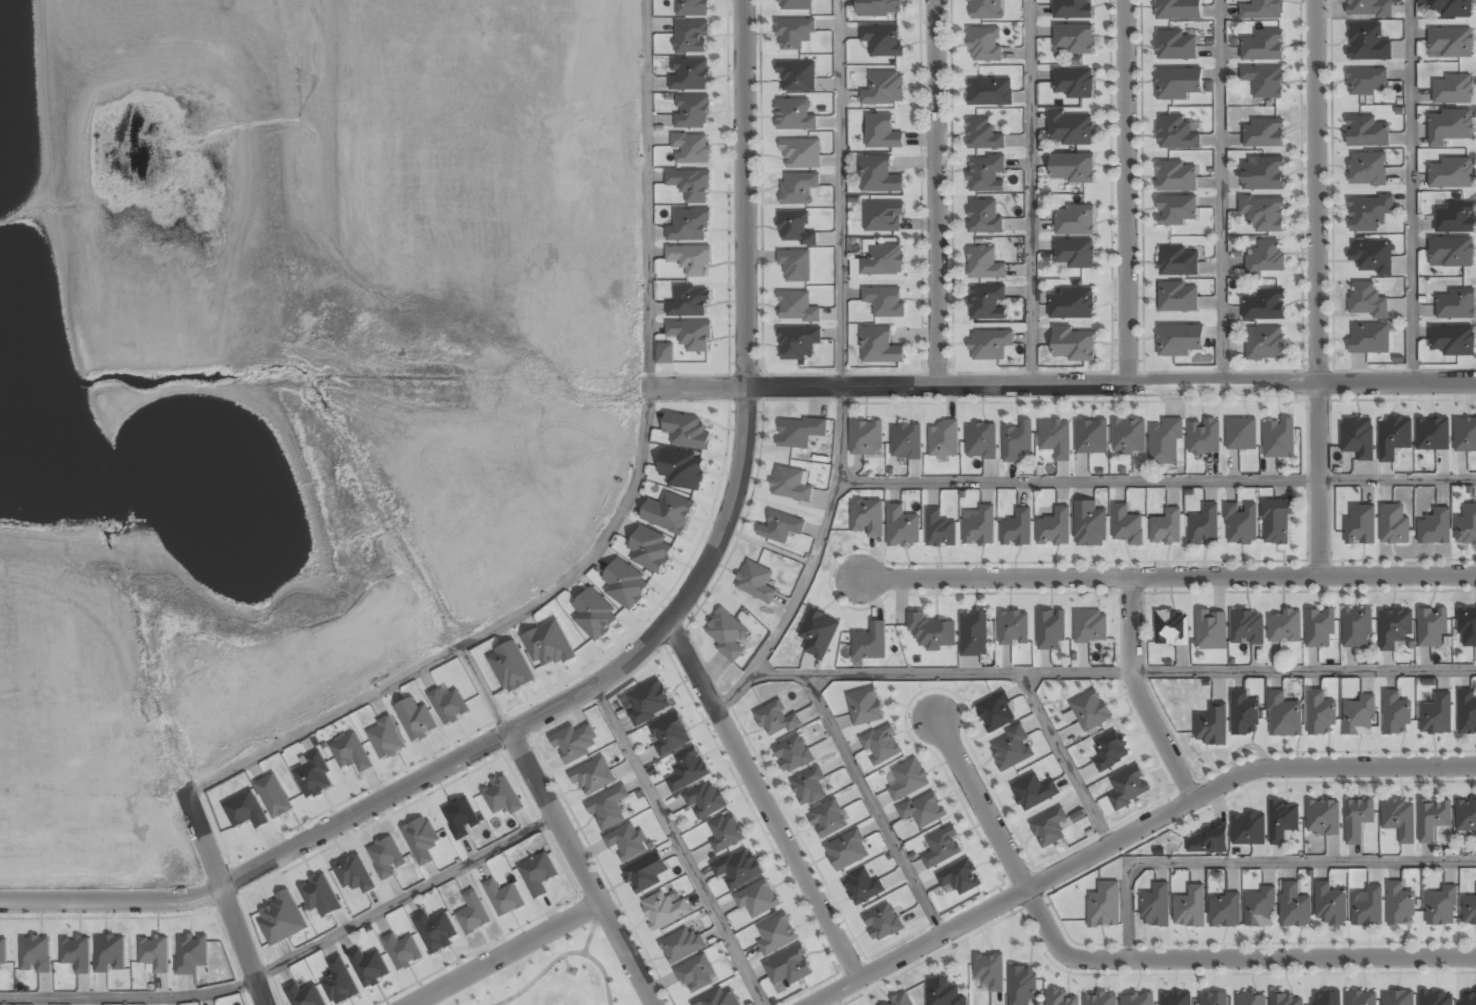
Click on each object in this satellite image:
building: (796, 5)
building: (692, 7)
building: (878, 8)
building: (1072, 8)
building: (1369, 8)
building: (1449, 8)
building: (984, 9)
building: (1178, 9)
building: (1261, 9)
building: (793, 33)
building: (690, 37)
building: (1073, 38)
building: (881, 40)
building: (1367, 42)
building: (1449, 42)
building: (984, 45)
building: (1175, 45)
building: (1262, 46)
building: (688, 75)
building: (797, 76)
building: (1263, 80)
building: (1366, 81)
building: (1177, 82)
building: (1073, 83)
building: (883, 88)
building: (1451, 89)
building: (988, 92)
building: (691, 111)
building: (794, 114)
building: (1449, 126)
building: (1070, 129)
building: (881, 131)
building: (1176, 132)
building: (1263, 132)
building: (1365, 132)
building: (982, 136)
building: (690, 148)
building: (800, 154)
building: (1072, 168)
building: (1366, 169)
building: (985, 173)
building: (1262, 173)
building: (1450, 173)
building: (878, 174)
building: (1176, 175)
building: (690, 185)
building: (796, 188)
road: (1411, 191)
road: (936, 192)
road: (1030, 192)
road: (1126, 192)
road: (1220, 192)
building: (1175, 209)
building: (1263, 212)
building: (1367, 213)
building: (883, 216)
building: (983, 217)
building: (1454, 218)
building: (1074, 220)
building: (688, 226)
building: (794, 228)
building: (1451, 251)
building: (1073, 254)
building: (1370, 256)
building: (1265, 258)
building: (690, 259)
building: (879, 261)
building: (1177, 262)
building: (983, 263)
building: (795, 264)
road: (1316, 287)
building: (1177, 297)
building: (1366, 300)
building: (689, 301)
building: (884, 301)
building: (986, 302)
building: (1454, 304)
building: (1070, 305)
building: (796, 306)
building: (1264, 306)
building: (691, 333)
building: (1368, 339)
building: (1178, 340)
building: (1451, 340)
building: (798, 342)
building: (988, 344)
building: (1264, 344)
building: (878, 345)
building: (1072, 345)
building: (665, 353)
road: (841, 373)
road: (1057, 385)
building: (687, 430)
building: (799, 432)
building: (1240, 433)
building: (1465, 433)
building: (1128, 435)
building: (1430, 435)
building: (866, 436)
building: (1091, 436)
building: (1356, 437)
building: (1392, 437)
building: (1278, 438)
building: (943, 439)
building: (1054, 439)
building: (1165, 440)
building: (980, 441)
building: (1015, 441)
building: (1201, 442)
building: (909, 447)
building: (681, 469)
road: (1156, 480)
building: (791, 483)
building: (669, 512)
building: (867, 516)
building: (1276, 520)
building: (1241, 522)
road: (615, 523)
building: (1090, 523)
building: (1393, 523)
building: (1360, 524)
building: (902, 525)
building: (1203, 525)
building: (1466, 525)
building: (979, 526)
building: (1435, 526)
building: (780, 527)
building: (1166, 527)
building: (1053, 528)
building: (939, 529)
building: (1016, 529)
building: (1125, 531)
building: (650, 550)
road: (1167, 575)
building: (756, 581)
building: (625, 585)
building: (594, 615)
building: (916, 622)
building: (1467, 625)
building: (1090, 626)
building: (1243, 626)
building: (1285, 626)
building: (1014, 627)
building: (1170, 627)
building: (1393, 627)
building: (1356, 628)
building: (1051, 629)
building: (1210, 629)
building: (1431, 629)
building: (818, 633)
building: (974, 633)
building: (726, 634)
building: (1316, 637)
building: (869, 643)
building: (547, 645)
road: (631, 658)
building: (510, 668)
road: (1114, 673)
road: (481, 690)
road: (1137, 693)
building: (648, 701)
building: (448, 705)
building: (864, 706)
building: (1089, 710)
building: (996, 712)
building: (1320, 712)
building: (1467, 712)
building: (1395, 713)
building: (1242, 714)
building: (1436, 714)
building: (1284, 715)
building: (1358, 715)
building: (415, 720)
building: (775, 720)
building: (1211, 724)
building: (669, 734)
building: (386, 738)
building: (575, 743)
building: (881, 744)
building: (1011, 749)
building: (1109, 750)
building: (350, 752)
building: (793, 754)
road: (1063, 759)
building: (687, 769)
building: (313, 774)
building: (593, 776)
building: (907, 779)
building: (809, 787)
building: (1124, 789)
building: (1033, 791)
building: (273, 795)
building: (500, 796)
road: (762, 799)
building: (705, 800)
road: (873, 805)
building: (608, 808)
building: (245, 810)
building: (922, 810)
building: (459, 818)
building: (828, 818)
building: (1322, 818)
building: (1465, 818)
building: (1398, 819)
building: (1432, 819)
building: (1357, 820)
building: (1048, 827)
building: (1247, 830)
building: (725, 833)
road: (1128, 834)
building: (1276, 837)
building: (421, 840)
building: (625, 842)
building: (1206, 842)
road: (677, 844)
building: (941, 846)
building: (847, 849)
building: (386, 857)
road: (1256, 861)
building: (737, 867)
road: (581, 868)
building: (644, 873)
building: (353, 874)
building: (537, 874)
building: (959, 876)
building: (862, 886)
road: (223, 895)
building: (318, 896)
building: (502, 898)
building: (757, 898)
building: (1329, 904)
building: (1399, 905)
building: (1103, 906)
building: (1154, 906)
building: (1293, 906)
building: (1366, 907)
building: (1440, 907)
building: (1188, 908)
building: (1259, 909)
building: (663, 910)
building: (1469, 911)
building: (1223, 912)
building: (472, 913)
building: (282, 918)
building: (882, 922)
building: (435, 931)
building: (775, 933)
building: (681, 944)
building: (3, 951)
building: (402, 951)
building: (154, 952)
building: (35, 953)
building: (76, 953)
building: (109, 953)
building: (190, 953)
road: (503, 954)
road: (1136, 957)
road: (291, 958)
building: (788, 966)
building: (369, 967)
building: (989, 971)
park: (554, 973)
building: (695, 974)
building: (339, 981)
building: (1021, 985)
building: (943, 992)
building: (305, 995)
building: (718, 997)
building: (1058, 997)
building: (1324, 998)
building: (1360, 998)
building: (1099, 999)
building: (1135, 999)
building: (1175, 999)
building: (1210, 999)
building: (1249, 999)
building: (1397, 999)
building: (1435, 999)
building: (1467, 999)
building: (1283, 1000)
building: (900, 1001)

